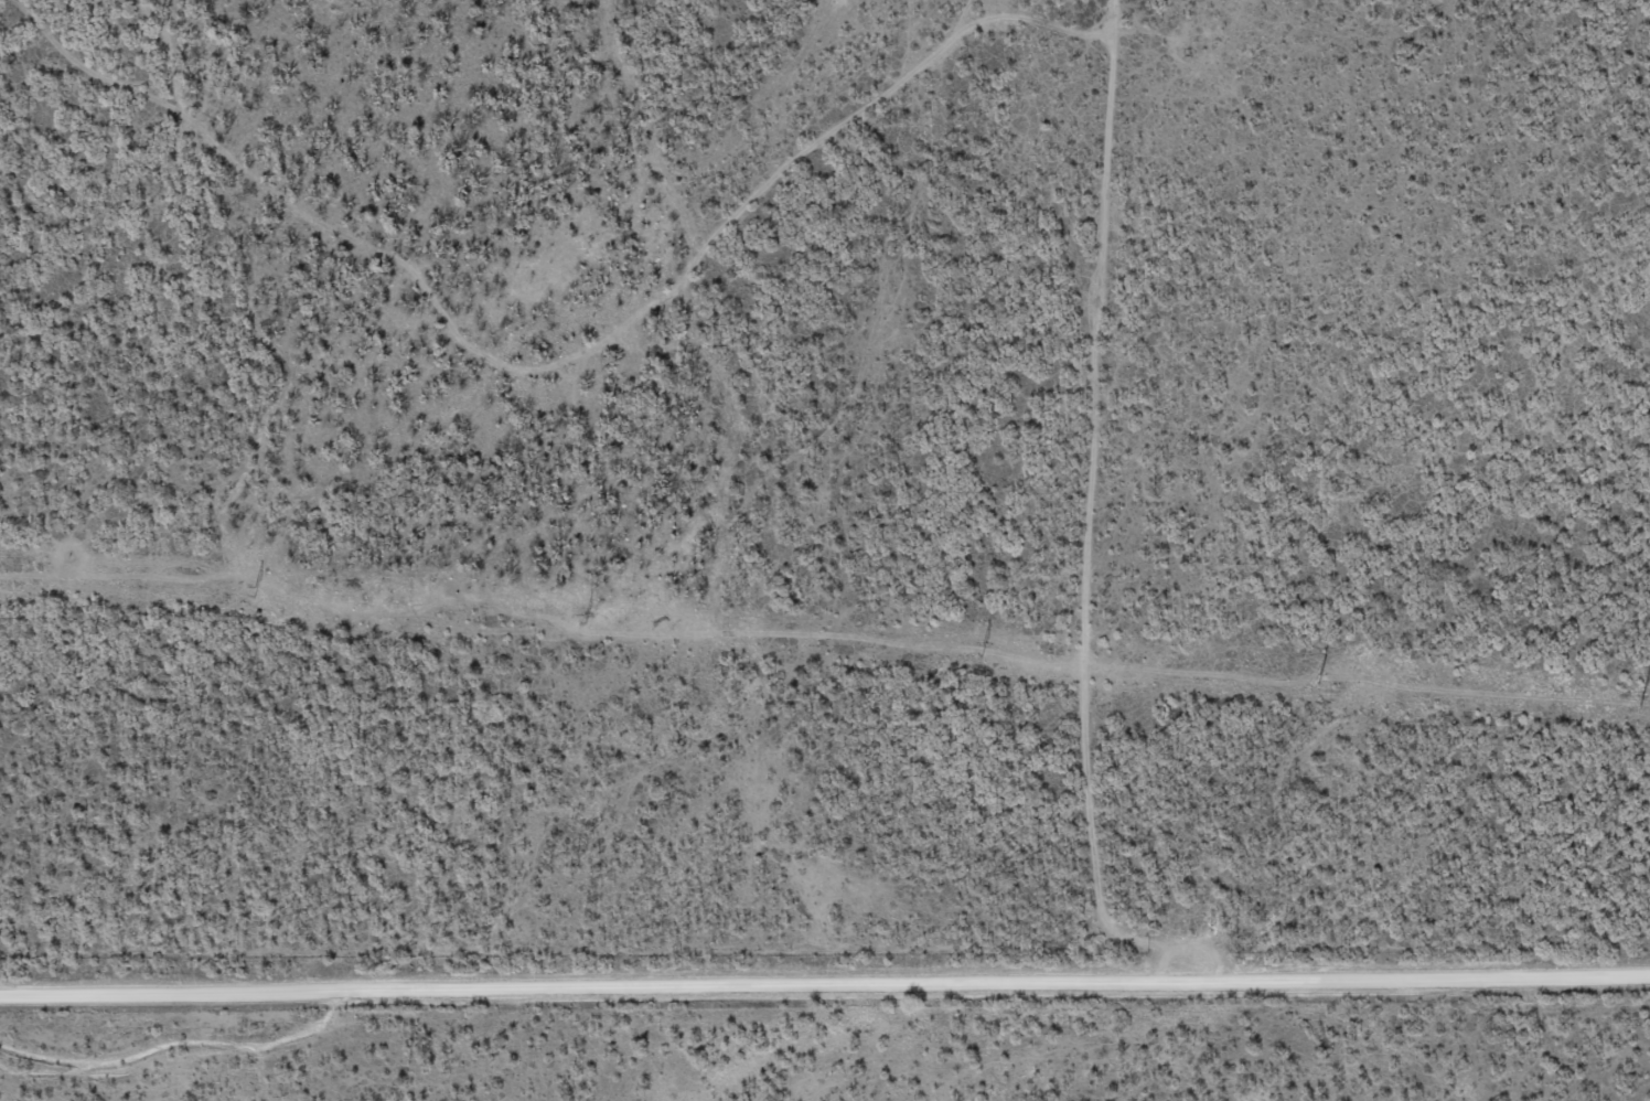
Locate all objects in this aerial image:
power tower: (254, 591)
power tower: (585, 618)
power tower: (982, 651)
power tower: (1319, 677)
power tower: (1639, 703)
road: (824, 990)

